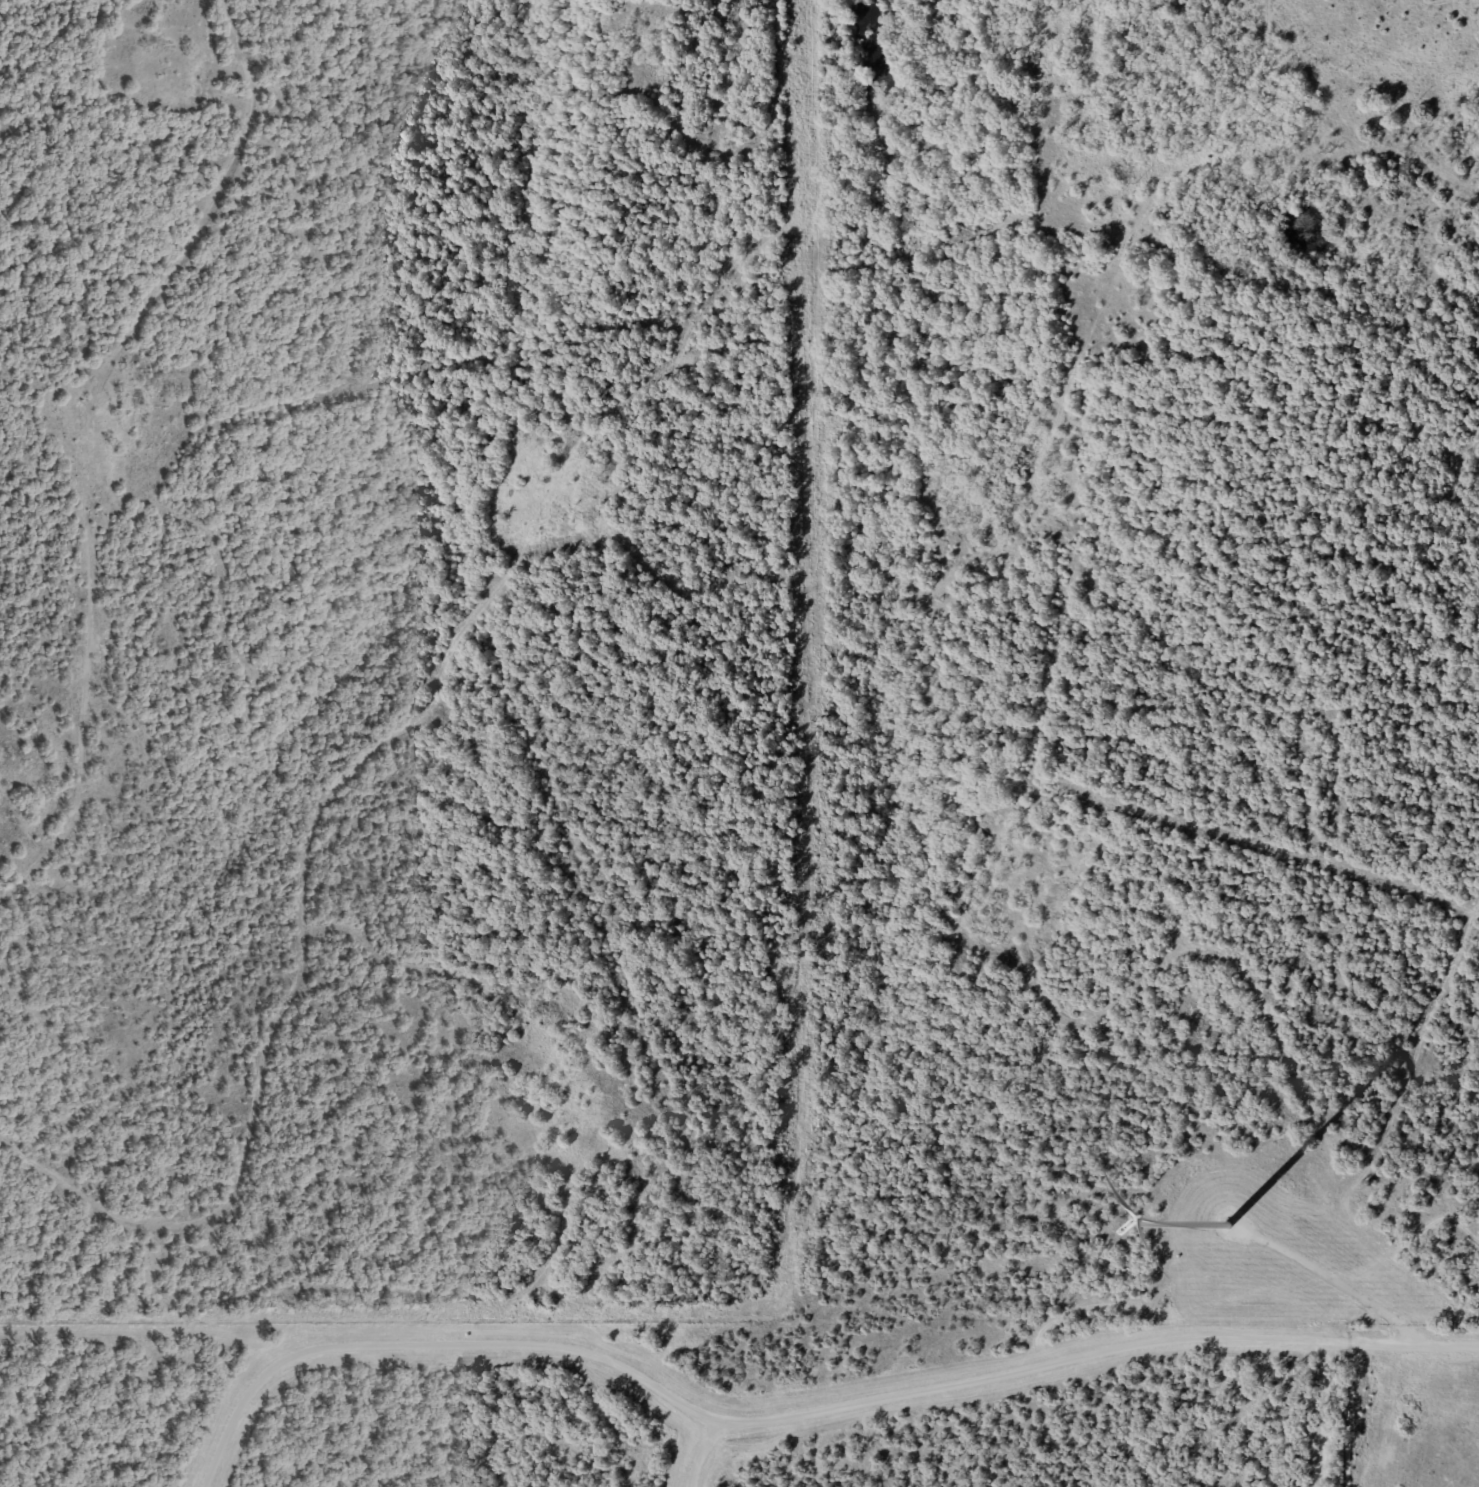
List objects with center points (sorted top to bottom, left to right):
wind turbine: (1234, 1224)

